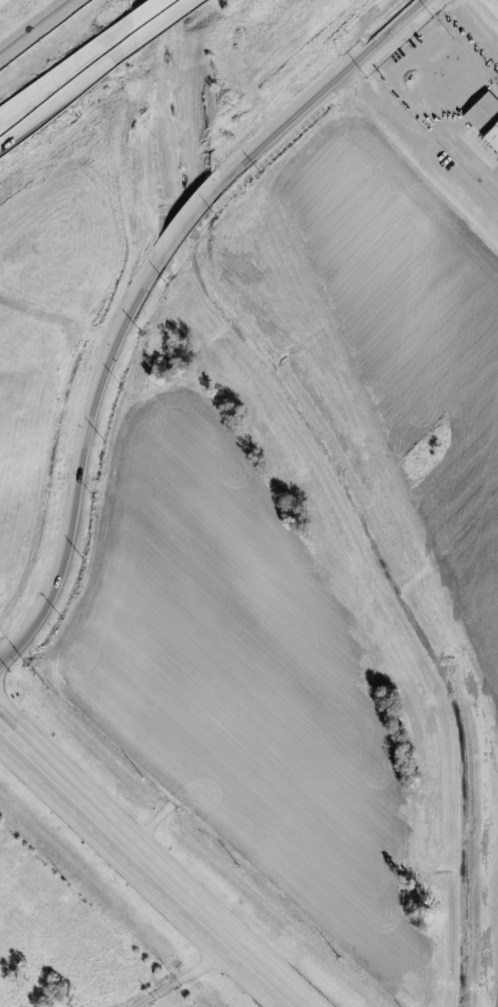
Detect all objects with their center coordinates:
road: (157, 19)
road: (475, 23)
road: (42, 29)
road: (66, 84)
road: (316, 89)
building: (486, 117)
road: (420, 136)
road: (187, 219)
road: (82, 467)
road: (153, 866)
road: (185, 975)

